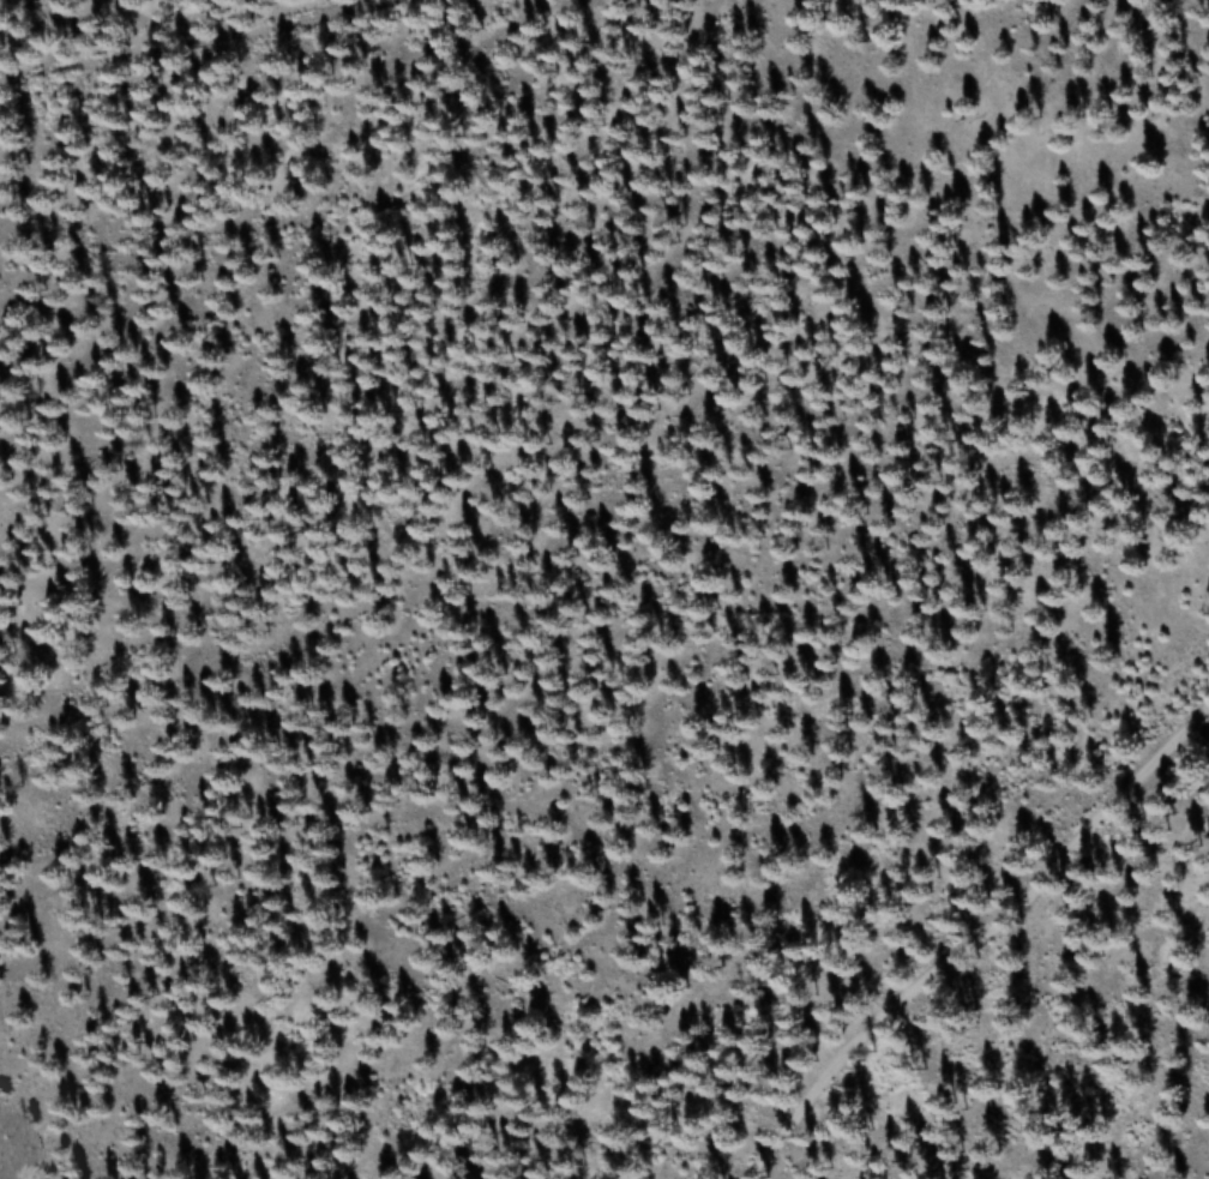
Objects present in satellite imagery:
road: (975, 939)

